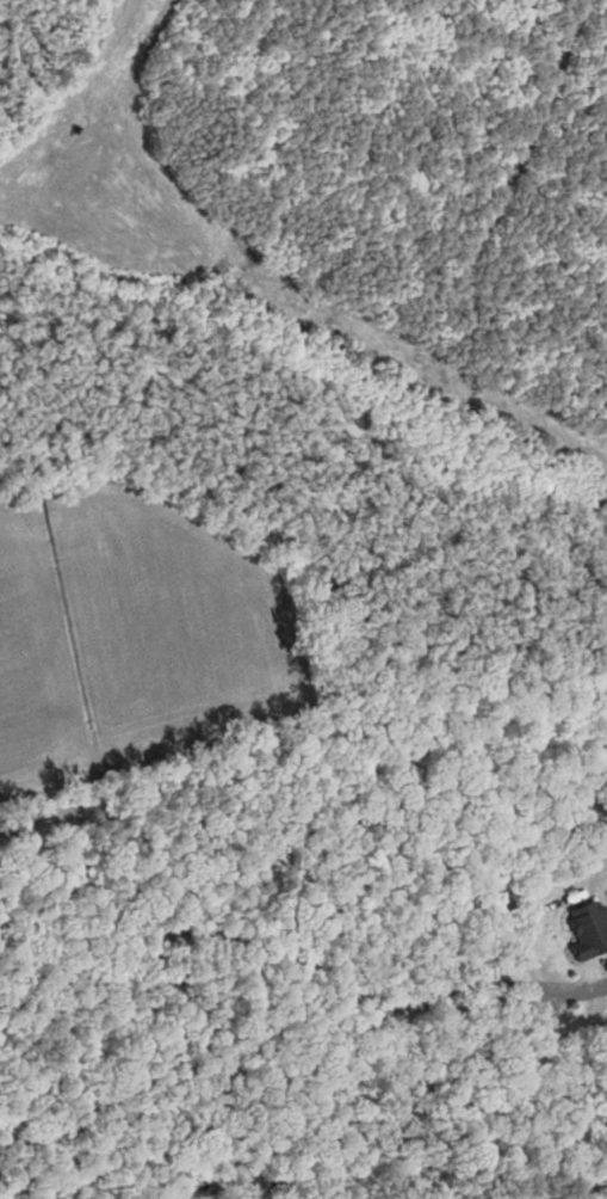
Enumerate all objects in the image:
building: (588, 930)
road: (266, 949)
road: (222, 1045)

